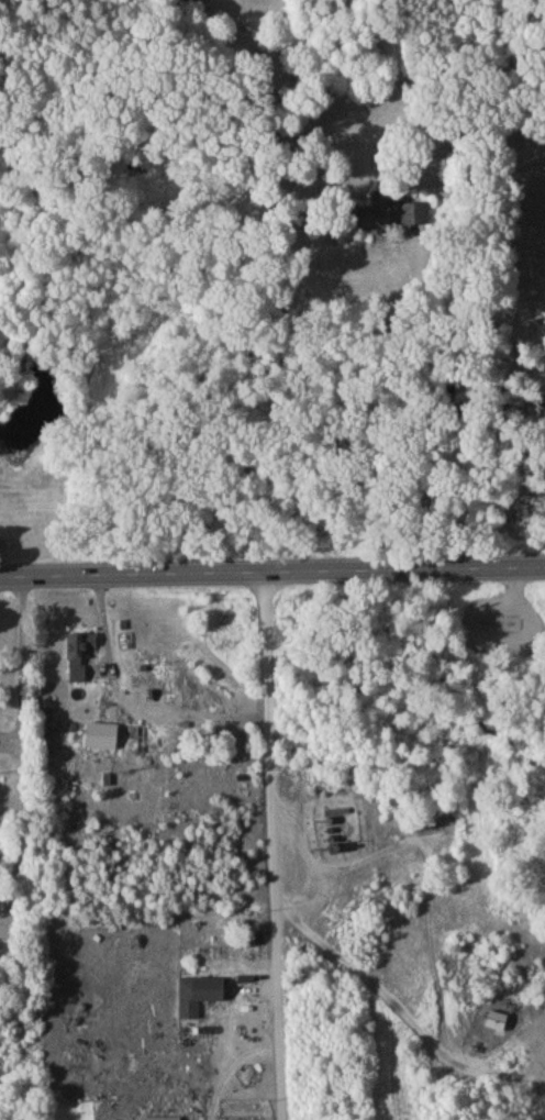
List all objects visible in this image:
building: (394, 218)
road: (438, 398)
road: (272, 573)
building: (80, 658)
road: (25, 753)
road: (271, 846)
road: (377, 984)
building: (201, 998)
building: (497, 1024)
road: (503, 1033)

